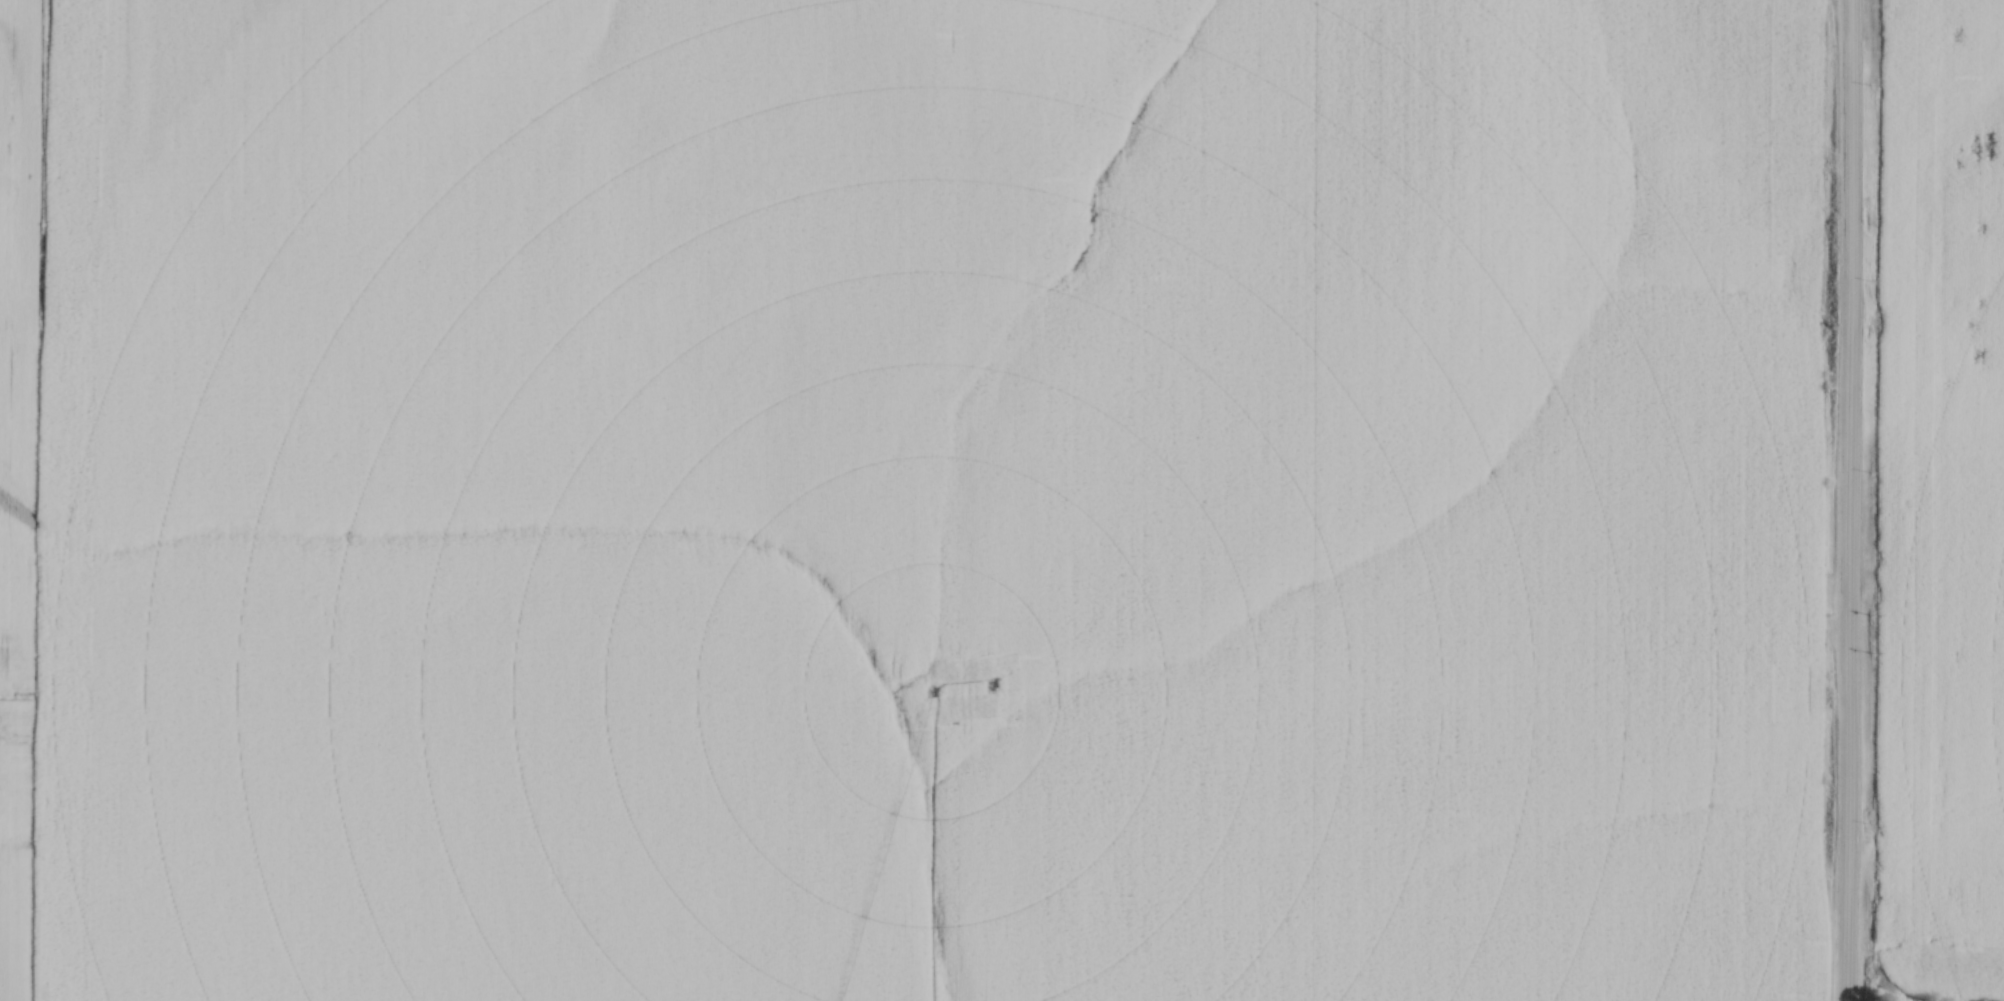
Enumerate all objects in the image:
road: (1849, 500)

